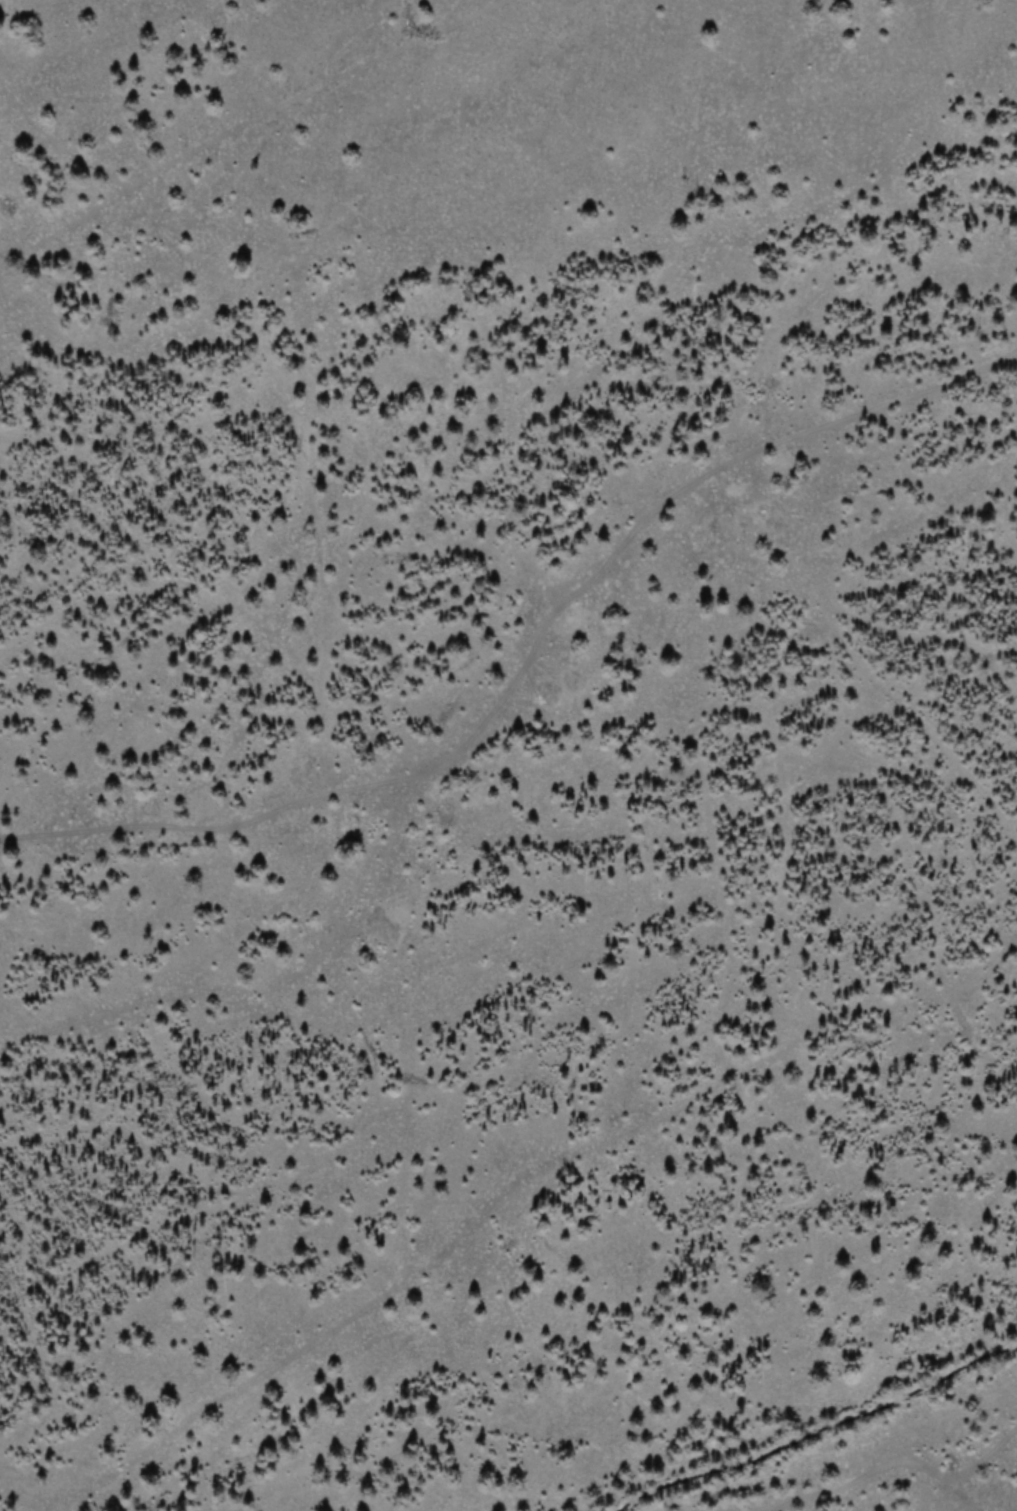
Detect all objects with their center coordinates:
road: (1008, 1506)

